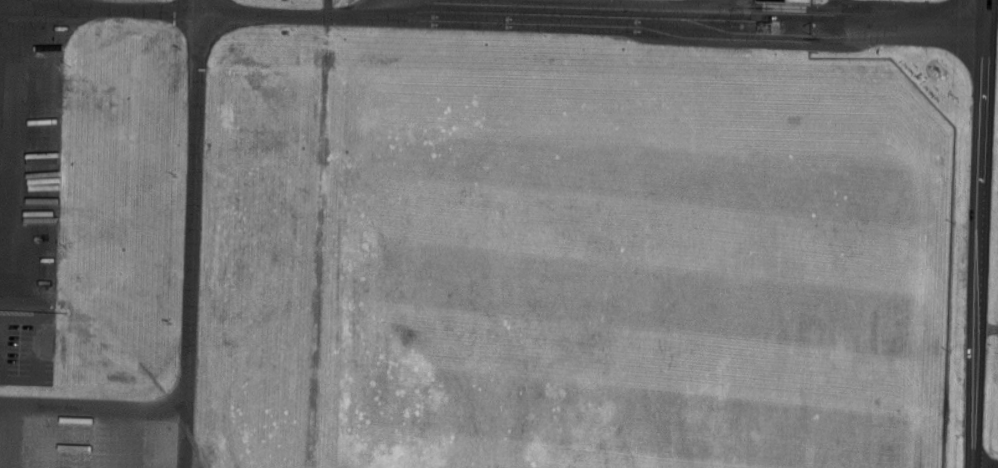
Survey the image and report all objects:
building: (772, 0)
road: (995, 6)
road: (736, 11)
road: (846, 12)
road: (595, 20)
road: (14, 47)
road: (984, 233)
road: (193, 234)
road: (990, 312)
road: (95, 401)

